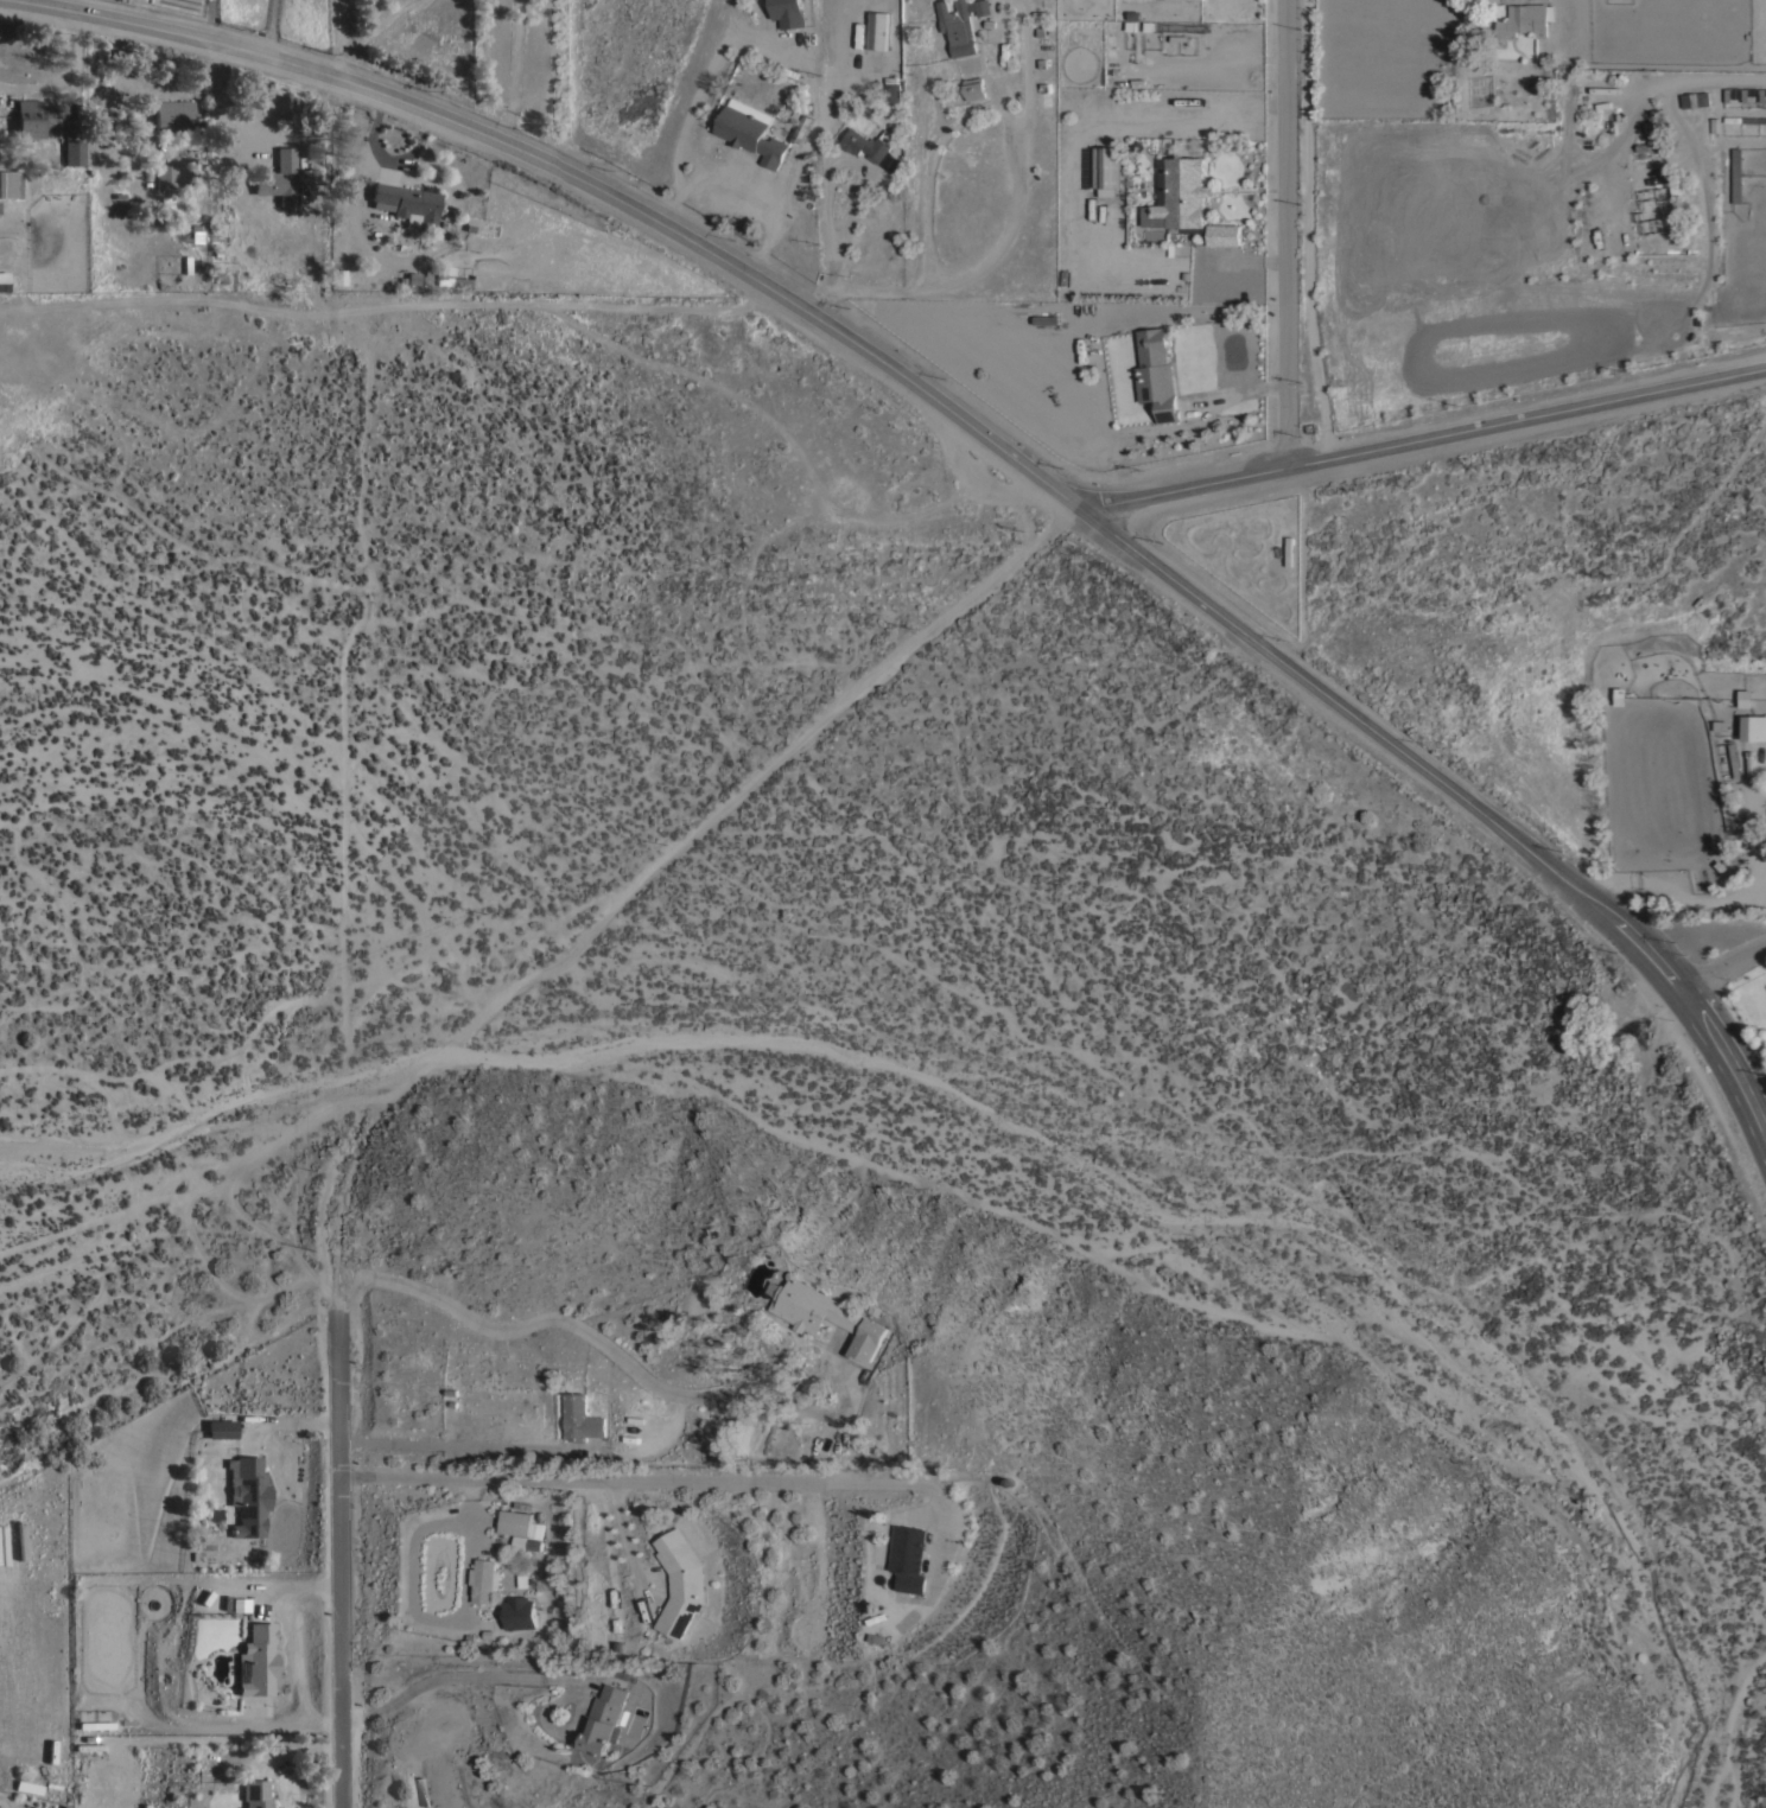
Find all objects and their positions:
building: (983, 6)
building: (788, 12)
building: (1523, 19)
building: (958, 25)
building: (878, 28)
road: (342, 38)
road: (69, 77)
building: (891, 87)
building: (973, 87)
building: (1695, 98)
building: (172, 115)
building: (32, 119)
building: (751, 130)
building: (802, 130)
building: (868, 142)
building: (1650, 144)
building: (72, 152)
road: (1014, 155)
building: (1107, 166)
building: (164, 176)
building: (278, 177)
road: (748, 180)
building: (7, 183)
building: (1180, 193)
road: (826, 195)
building: (406, 203)
building: (1662, 208)
road: (1285, 231)
building: (1224, 234)
building: (193, 237)
building: (280, 254)
building: (1, 275)
building: (338, 276)
building: (450, 278)
building: (4, 285)
building: (1156, 373)
road: (1235, 391)
road: (976, 427)
road: (1424, 440)
road: (1048, 531)
road: (997, 573)
river: (455, 636)
road: (844, 704)
building: (1752, 726)
road: (695, 833)
road: (1678, 890)
road: (625, 892)
road: (548, 957)
road: (1729, 965)
road: (507, 992)
road: (476, 1017)
road: (356, 1147)
building: (827, 1313)
road: (609, 1347)
building: (582, 1418)
building: (220, 1428)
road: (453, 1446)
road: (644, 1478)
building: (247, 1495)
building: (517, 1522)
building: (519, 1542)
building: (914, 1548)
building: (940, 1560)
road: (338, 1561)
building: (483, 1579)
building: (680, 1580)
building: (210, 1604)
building: (239, 1605)
building: (592, 1609)
building: (517, 1612)
building: (258, 1660)
building: (603, 1718)
building: (89, 1745)
building: (28, 1787)
building: (443, 1789)
building: (423, 1790)
building: (255, 1794)

